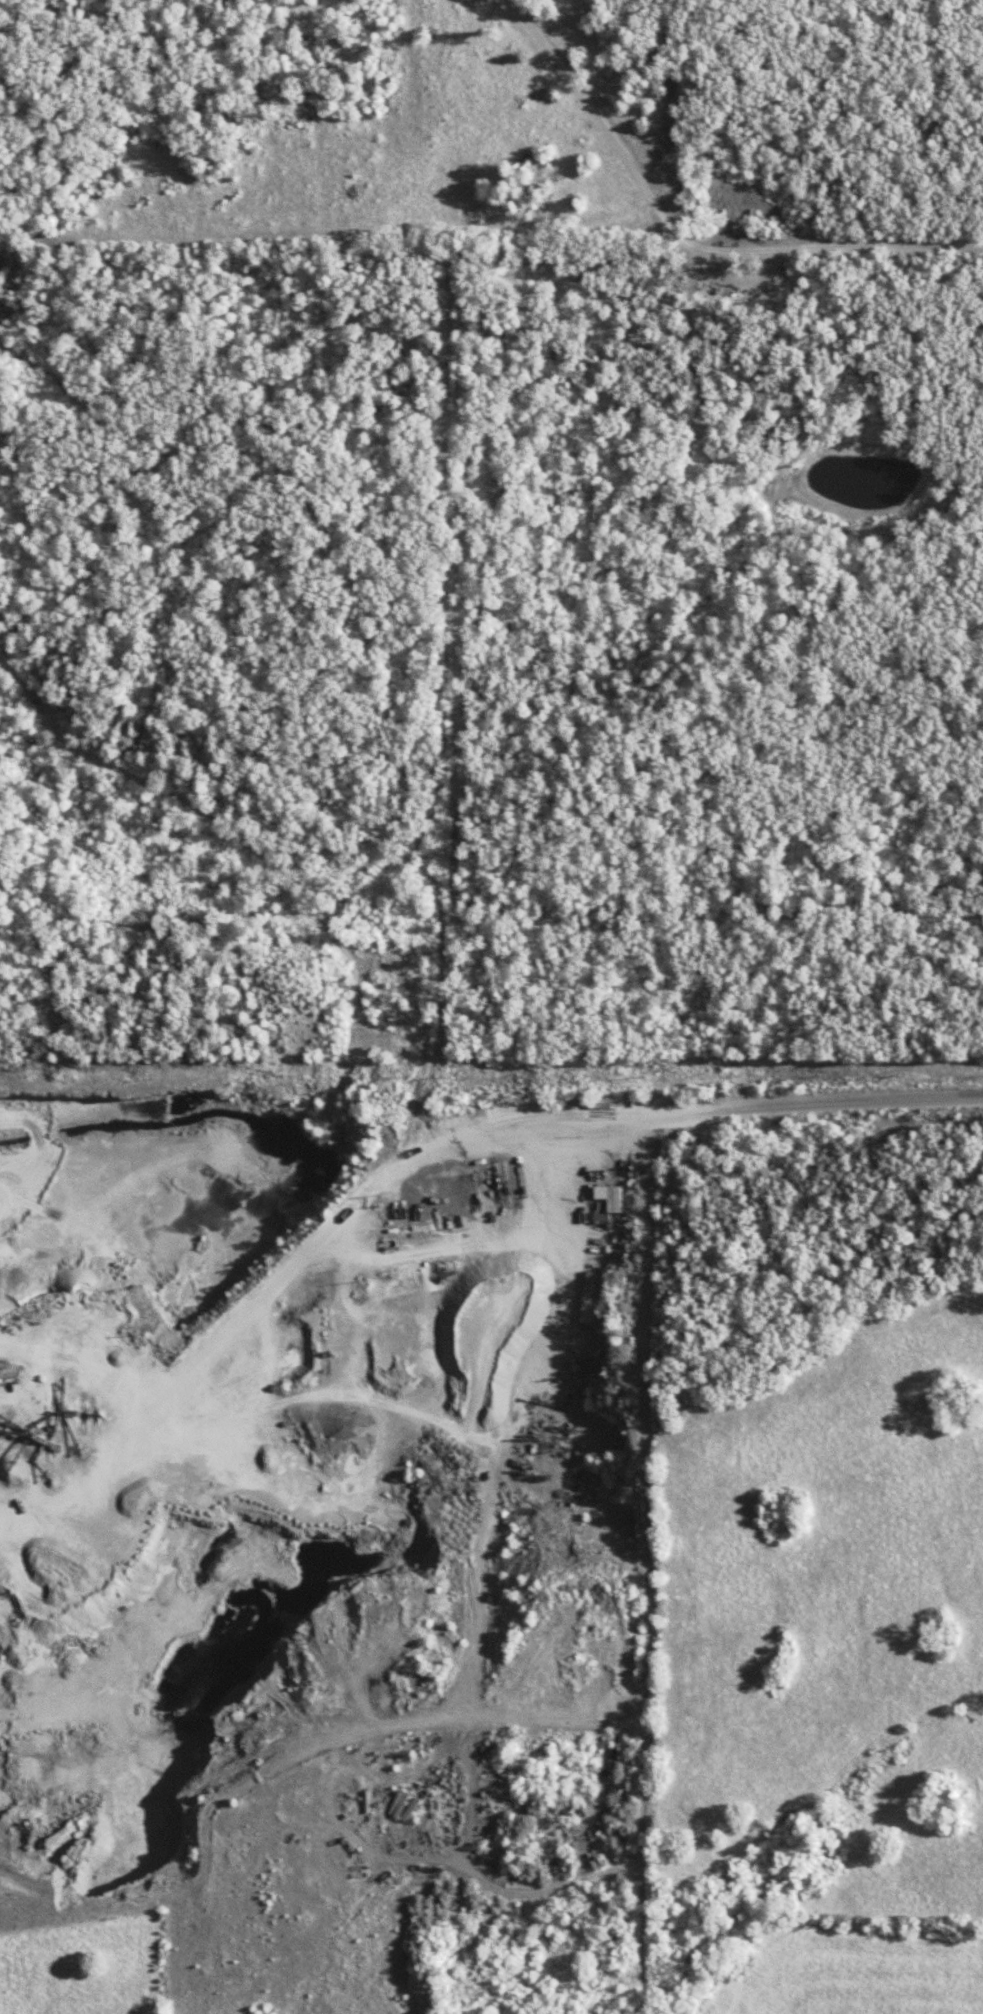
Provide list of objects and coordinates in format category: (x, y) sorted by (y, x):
road: (683, 240)
road: (818, 1107)
road: (372, 1184)
building: (615, 1197)
building: (593, 1299)
quarry: (253, 1431)
road: (644, 1564)

